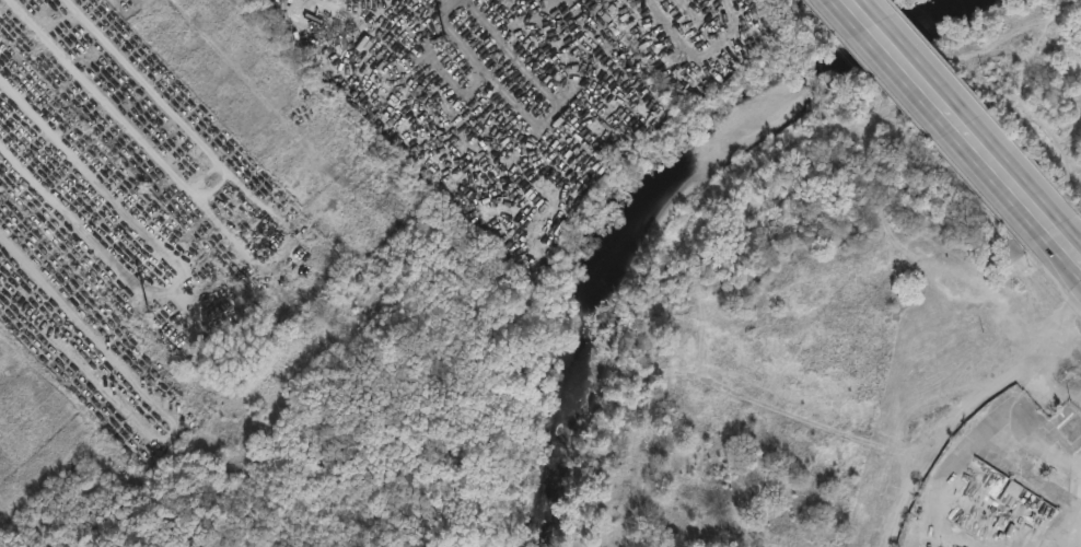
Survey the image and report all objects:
power tower: (446, 44)
road: (915, 84)
road: (205, 197)
river: (662, 206)
road: (1036, 220)
road: (147, 243)
road: (61, 304)
power tower: (150, 311)
road: (954, 416)

